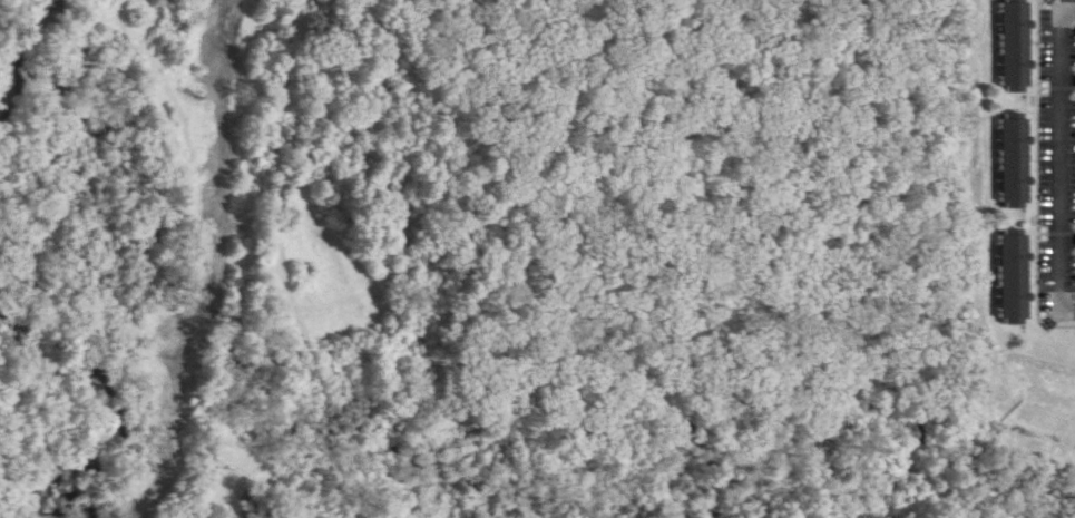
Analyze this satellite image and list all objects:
building: (1012, 33)
building: (1007, 146)
road: (1061, 160)
building: (1004, 261)
building: (1016, 280)

